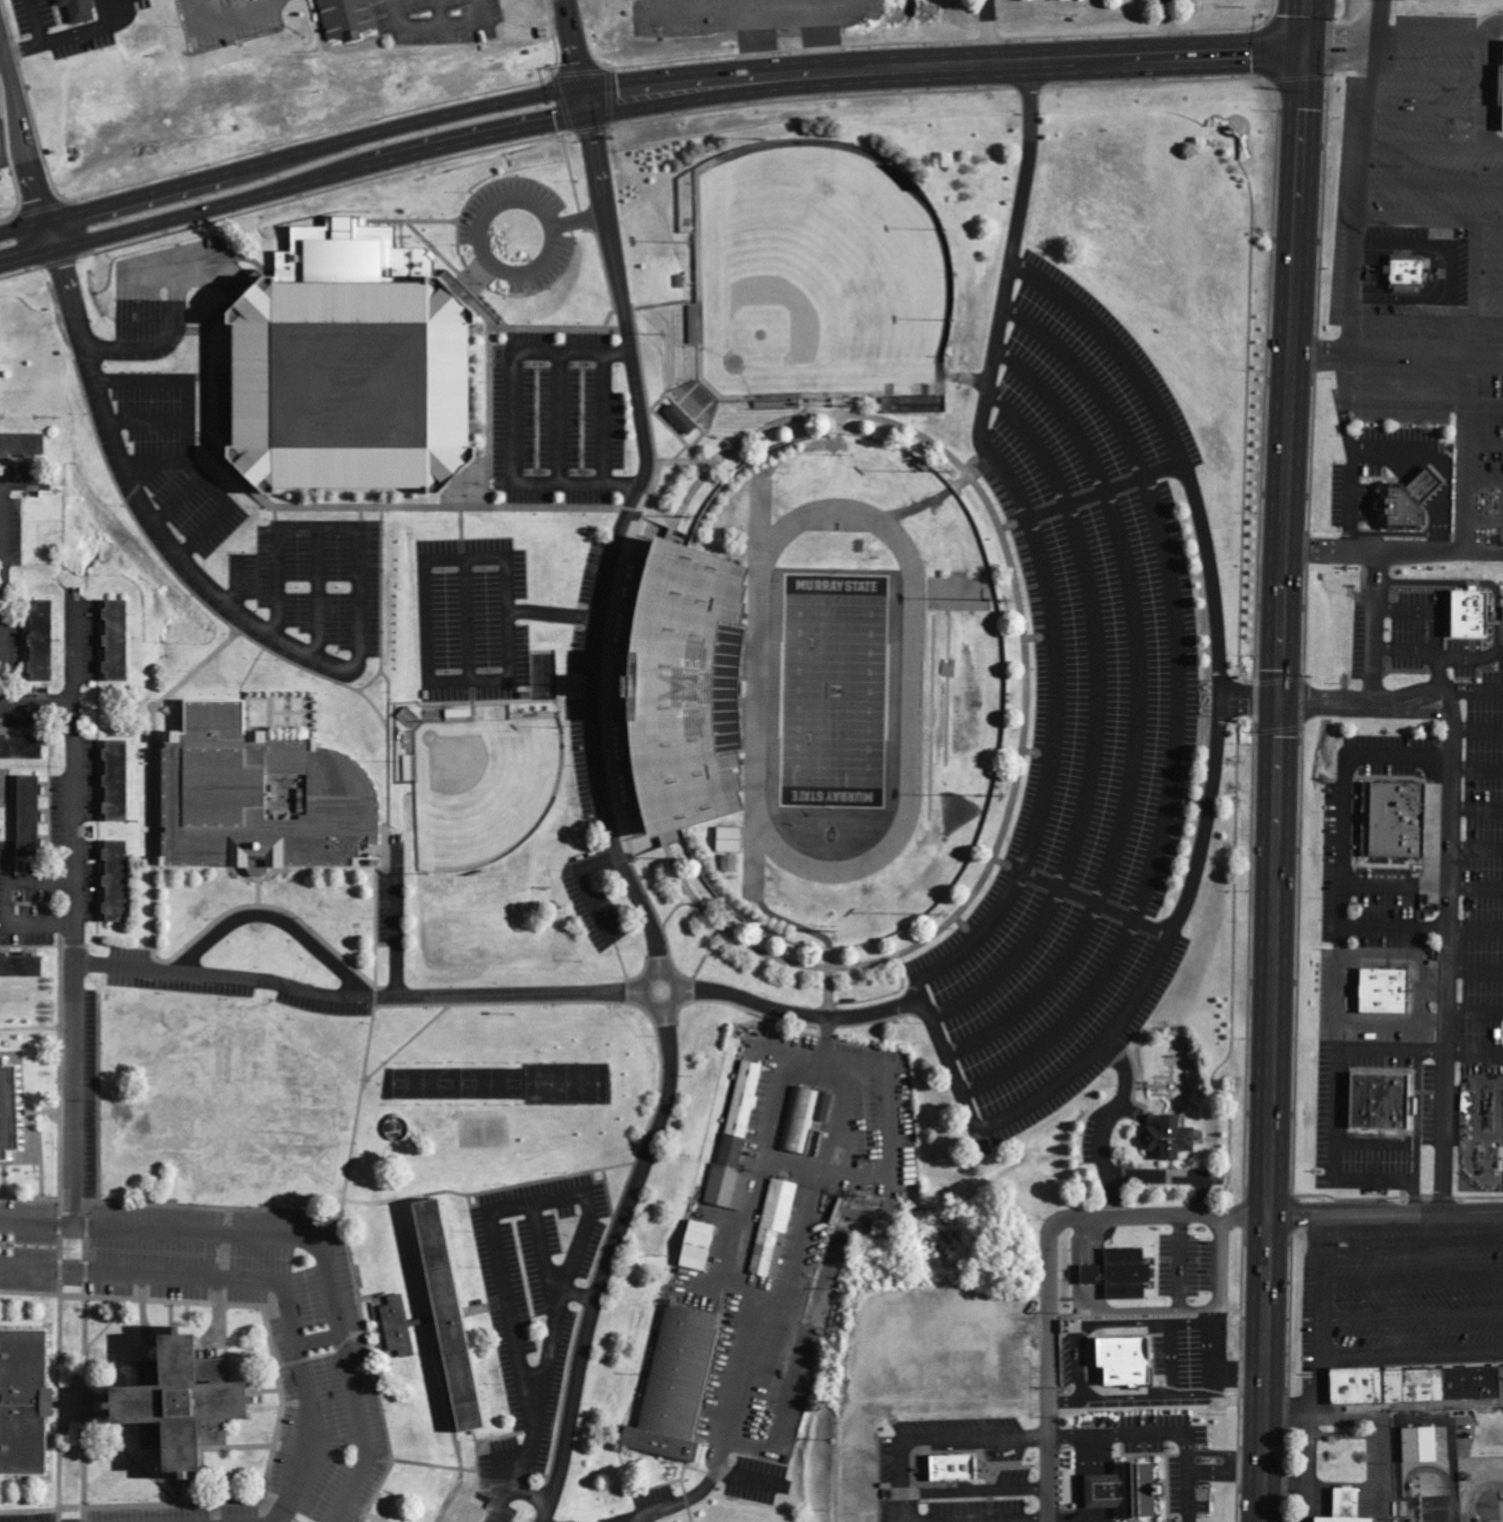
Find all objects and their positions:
building: (84, 11)
building: (349, 19)
road: (1305, 25)
road: (1168, 28)
road: (1495, 31)
road: (991, 32)
road: (1459, 37)
road: (580, 50)
traffic signals: (1304, 51)
road: (1, 56)
road: (1427, 75)
building: (1500, 87)
road: (643, 93)
traffic signals: (592, 101)
road: (1425, 111)
road: (27, 139)
road: (1423, 147)
road: (1432, 184)
road: (569, 194)
road: (1021, 209)
road: (1430, 219)
parking lot: (514, 238)
road: (1489, 255)
road: (502, 271)
road: (1475, 272)
building: (1400, 273)
road: (1354, 275)
road: (149, 277)
park: (817, 284)
road: (1489, 290)
road: (1427, 323)
road: (171, 330)
road: (1115, 348)
road: (1396, 364)
building: (334, 394)
stadium: (334, 394)
road: (986, 397)
building: (697, 403)
road: (1424, 404)
parking lot: (558, 416)
road: (560, 418)
road: (603, 418)
building: (683, 420)
road: (514, 422)
road: (146, 423)
road: (187, 442)
road: (1483, 443)
building: (25, 445)
parking lot: (147, 455)
road: (1463, 460)
road: (154, 463)
road: (1483, 481)
road: (639, 482)
building: (449, 488)
road: (178, 502)
building: (1405, 502)
road: (143, 510)
road: (1482, 518)
road: (322, 527)
road: (1318, 551)
road: (1426, 553)
road: (5, 577)
road: (424, 583)
road: (237, 584)
road: (318, 594)
road: (1220, 612)
road: (1439, 612)
building: (1464, 614)
road: (467, 620)
parking lot: (471, 621)
road: (1375, 628)
building: (549, 639)
building: (47, 641)
building: (123, 641)
road: (1438, 650)
road: (1478, 690)
stadium: (815, 691)
park: (834, 692)
building: (668, 699)
road: (1452, 700)
traffic signals: (1280, 703)
road: (36, 704)
road: (1178, 712)
parking lot: (1077, 713)
road: (1137, 716)
road: (1097, 722)
road: (1477, 731)
road: (1053, 736)
building: (24, 748)
road: (1477, 769)
building: (122, 782)
road: (1278, 786)
park: (476, 787)
building: (264, 798)
road: (1476, 809)
building: (34, 817)
road: (1207, 820)
building: (1389, 820)
building: (730, 840)
road: (1476, 849)
building: (729, 864)
building: (122, 882)
road: (1422, 887)
road: (1096, 903)
road: (73, 912)
road: (648, 921)
road: (1449, 923)
road: (1422, 927)
road: (1413, 955)
building: (23, 967)
road: (1475, 971)
road: (1340, 973)
building: (1378, 991)
road: (366, 996)
road: (791, 1013)
road: (1475, 1013)
road: (1393, 1021)
road: (1420, 1049)
road: (1125, 1068)
building: (0, 1092)
building: (1375, 1102)
building: (28, 1117)
building: (800, 1120)
road: (981, 1130)
building: (1175, 1139)
road: (1372, 1142)
building: (736, 1144)
road: (1179, 1178)
road: (1386, 1218)
building: (774, 1226)
building: (884, 1228)
road: (303, 1240)
building: (701, 1247)
road: (612, 1256)
road: (1050, 1267)
building: (1125, 1275)
road: (265, 1283)
building: (459, 1312)
building: (399, 1328)
road: (320, 1341)
building: (1137, 1365)
road: (59, 1372)
road: (85, 1372)
building: (678, 1385)
building: (1413, 1385)
building: (27, 1403)
building: (177, 1422)
building: (1415, 1446)
building: (959, 1469)
building: (1143, 1472)
building: (1340, 1506)
building: (470, 1517)

